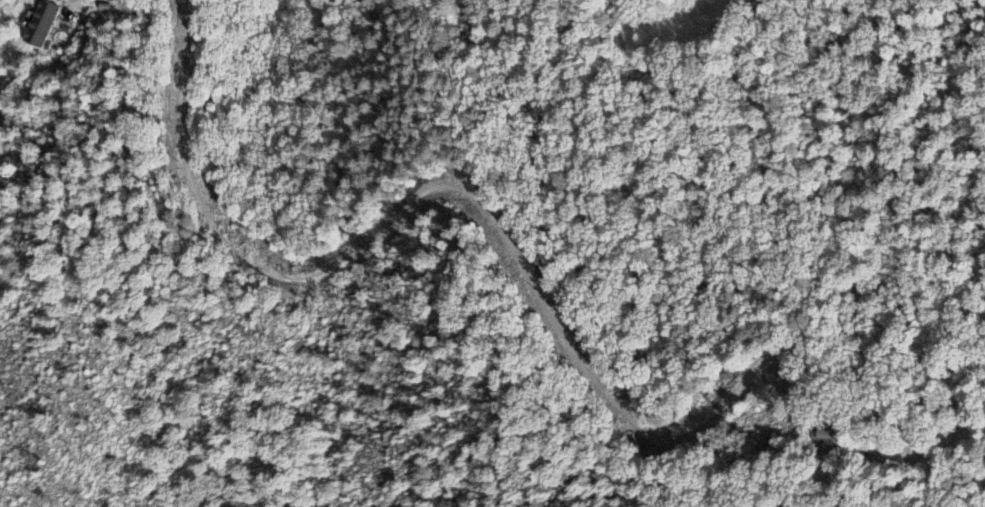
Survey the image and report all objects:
building: (42, 25)
road: (426, 190)
building: (831, 441)

